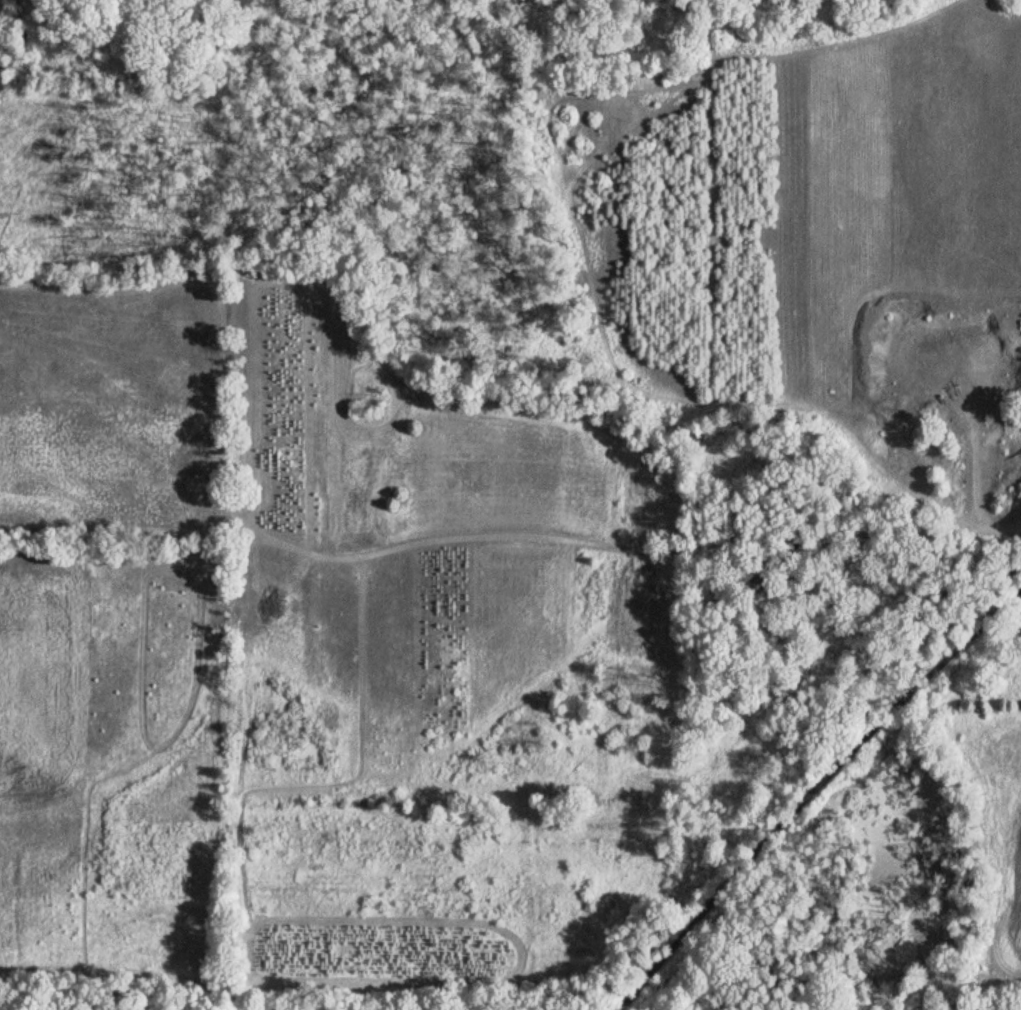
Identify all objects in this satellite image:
road: (809, 792)

